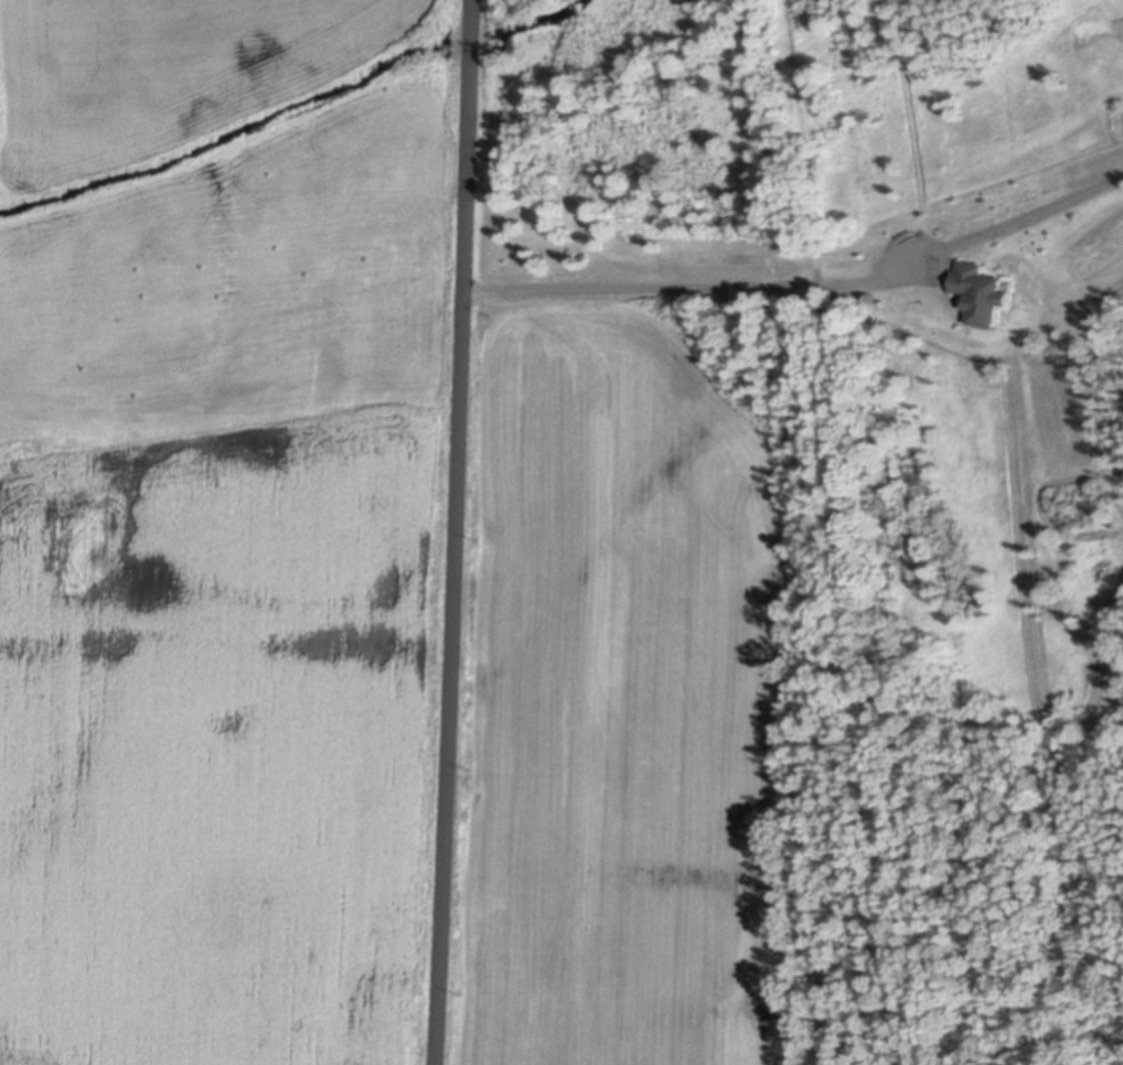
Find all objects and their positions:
river: (541, 19)
river: (474, 32)
river: (229, 132)
road: (802, 280)
building: (977, 291)
road: (451, 532)

